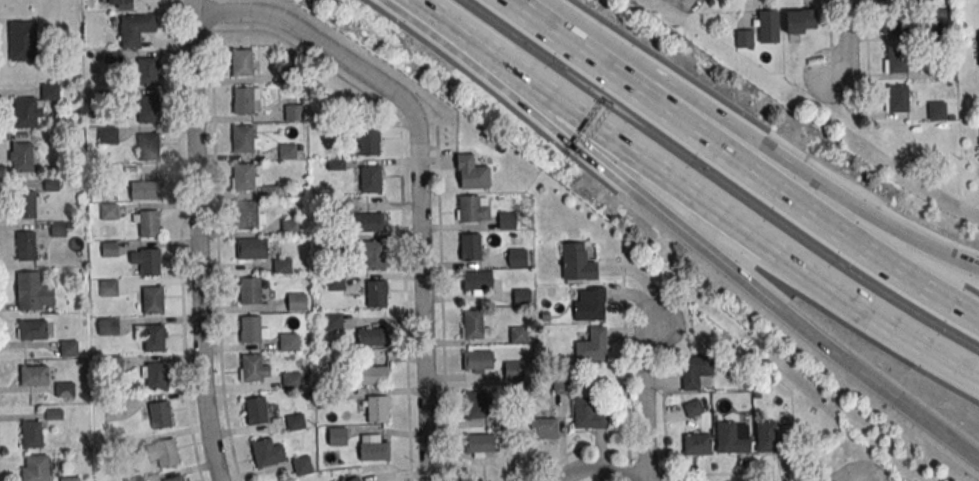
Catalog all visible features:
building: (119, 4)
building: (942, 20)
building: (800, 21)
building: (895, 23)
building: (767, 26)
building: (135, 29)
road: (457, 29)
road: (569, 36)
building: (743, 38)
building: (978, 38)
road: (846, 39)
building: (22, 40)
building: (898, 58)
building: (242, 62)
building: (148, 70)
building: (896, 98)
building: (246, 100)
building: (33, 107)
building: (148, 108)
building: (936, 111)
building: (293, 112)
building: (108, 135)
building: (244, 139)
building: (368, 142)
building: (148, 147)
building: (287, 151)
road: (777, 153)
building: (22, 157)
building: (471, 172)
road: (416, 174)
road: (763, 177)
building: (370, 179)
building: (250, 180)
building: (145, 189)
road: (634, 190)
road: (709, 203)
building: (26, 204)
building: (472, 208)
building: (109, 211)
building: (250, 214)
building: (506, 220)
building: (369, 222)
building: (147, 223)
building: (290, 226)
road: (197, 241)
building: (25, 245)
building: (470, 247)
building: (252, 248)
building: (372, 255)
road: (949, 255)
building: (517, 257)
building: (146, 260)
building: (576, 262)
building: (282, 266)
building: (476, 282)
building: (108, 287)
building: (250, 291)
building: (33, 292)
building: (377, 294)
building: (520, 296)
road: (941, 297)
building: (152, 299)
building: (296, 302)
building: (588, 304)
building: (333, 321)
building: (474, 325)
building: (108, 326)
building: (32, 329)
building: (253, 329)
building: (518, 335)
building: (151, 336)
building: (372, 336)
building: (288, 341)
building: (591, 344)
building: (69, 348)
building: (477, 361)
road: (949, 362)
building: (253, 368)
building: (513, 370)
building: (697, 371)
building: (373, 374)
building: (34, 375)
building: (154, 375)
road: (865, 376)
building: (291, 380)
building: (561, 385)
building: (65, 389)
road: (644, 395)
building: (478, 404)
building: (377, 408)
building: (693, 408)
building: (256, 410)
building: (590, 412)
building: (160, 414)
building: (295, 421)
building: (543, 428)
building: (31, 434)
building: (337, 436)
building: (771, 436)
building: (732, 437)
building: (696, 444)
building: (479, 445)
building: (374, 448)
road: (965, 450)
building: (163, 452)
building: (267, 452)
building: (302, 465)
building: (35, 467)
road: (587, 470)
building: (175, 478)
building: (69, 479)
building: (135, 479)
building: (354, 479)

